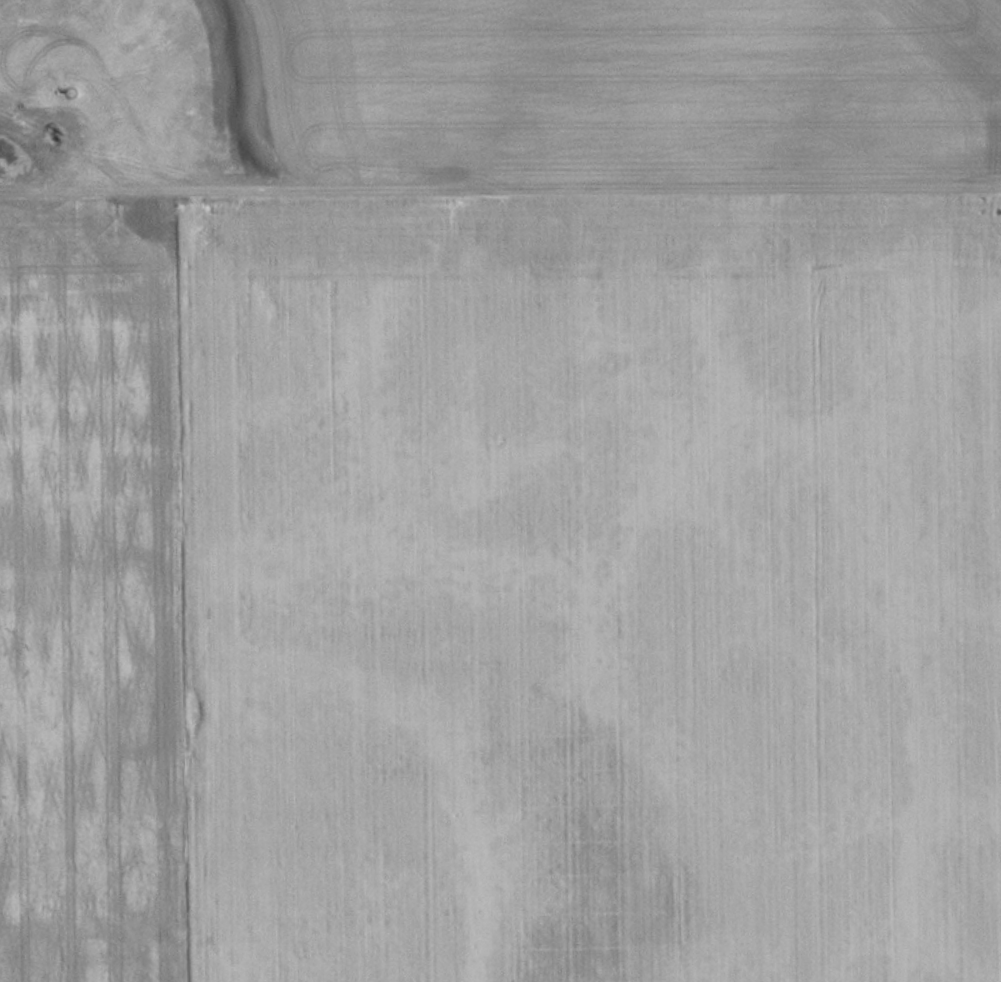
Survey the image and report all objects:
wind turbine: (71, 95)

